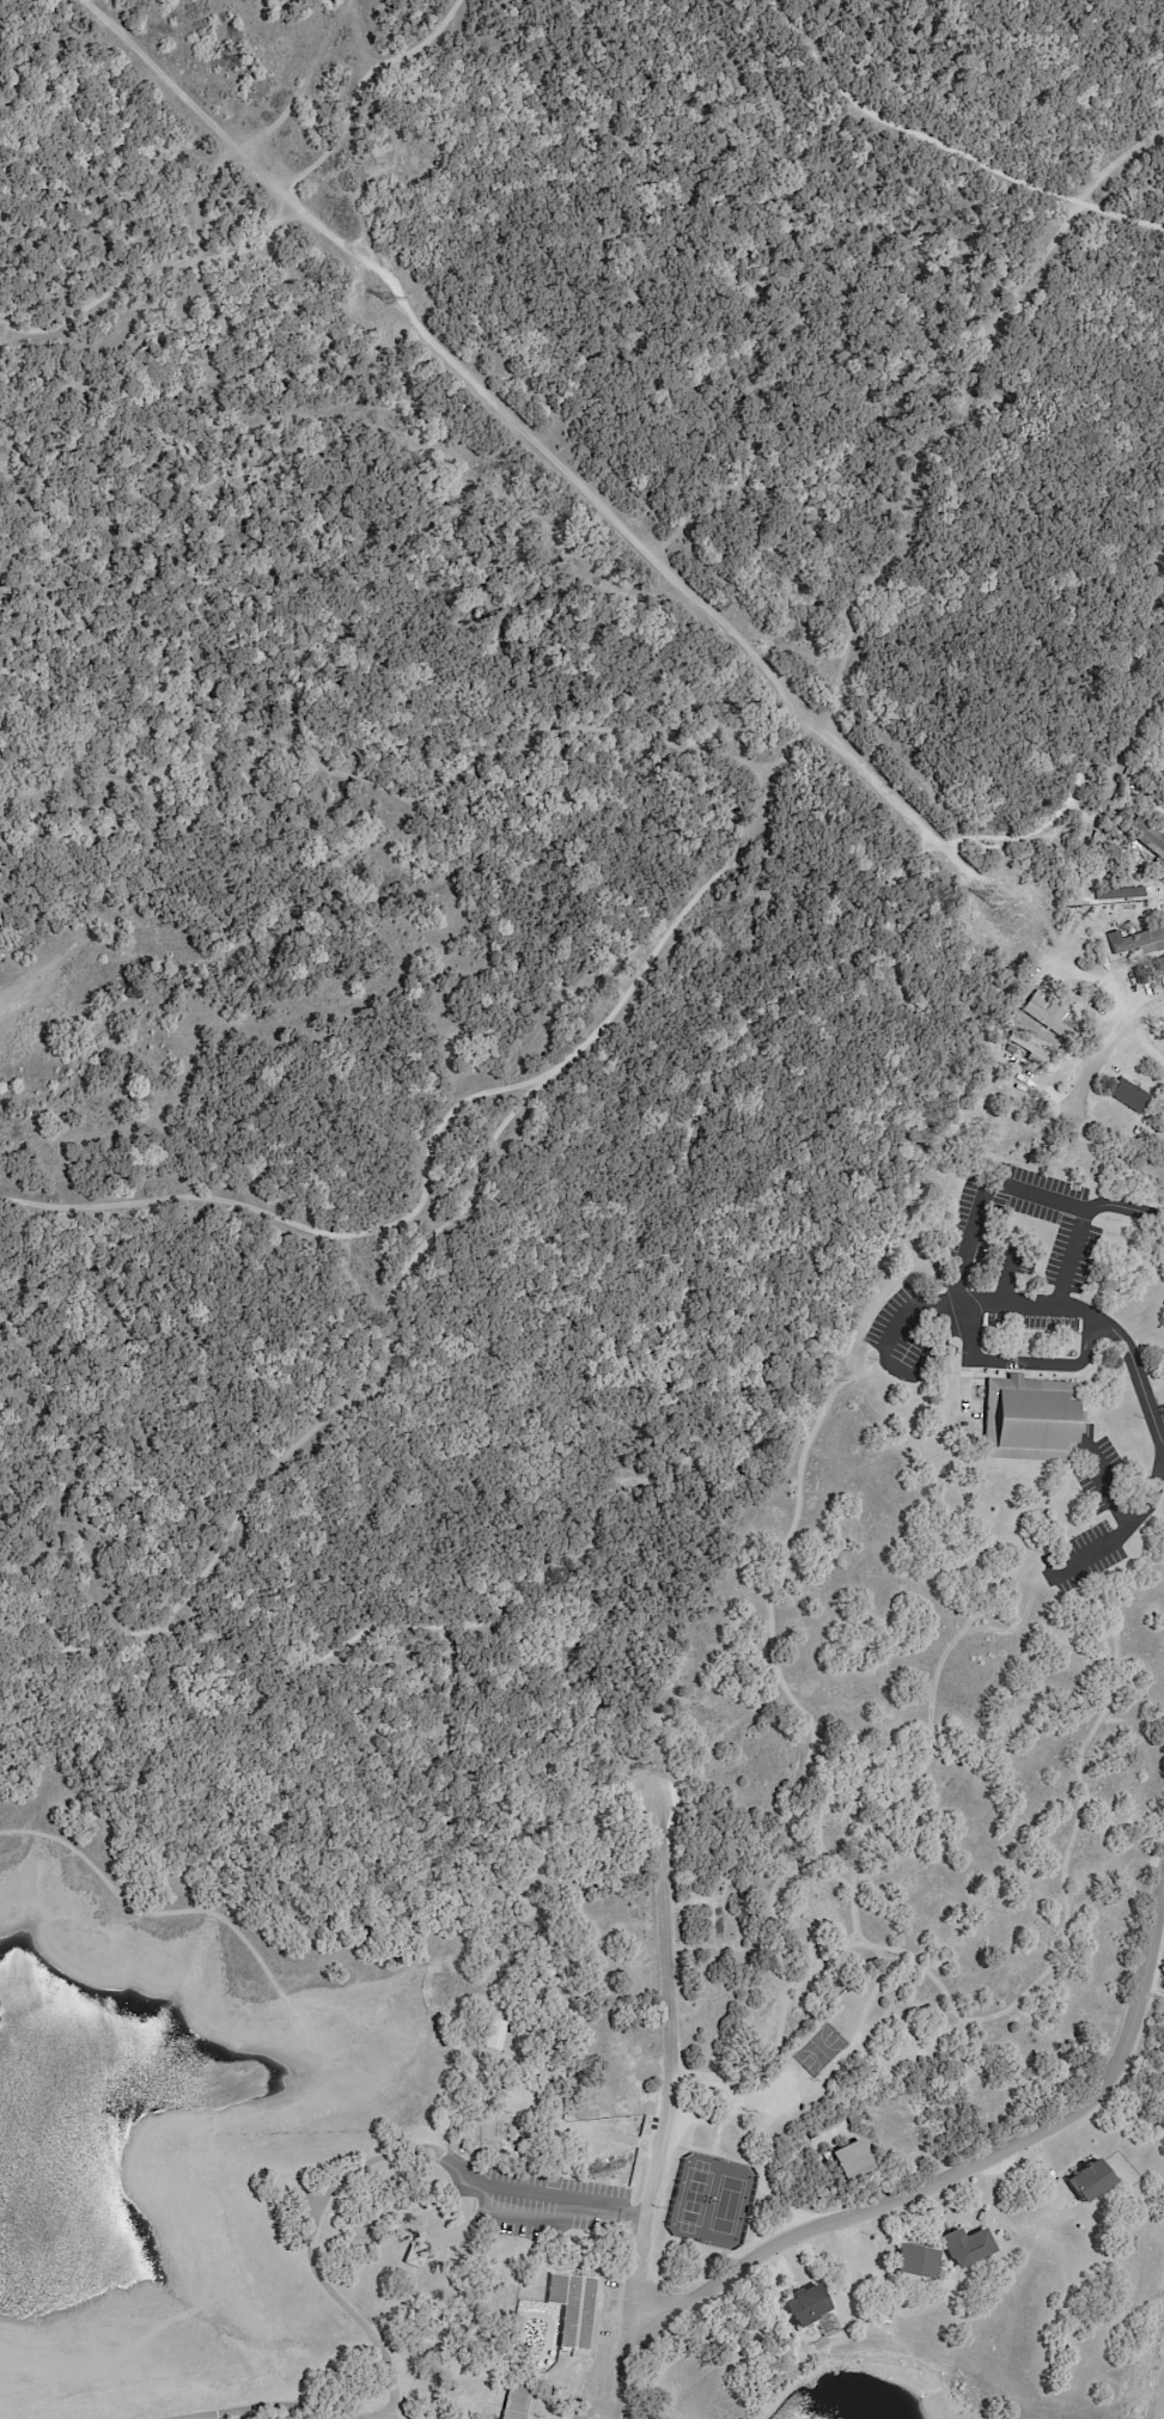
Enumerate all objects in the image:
power tower: (386, 299)
building: (1163, 809)
building: (1123, 817)
building: (1147, 836)
building: (1119, 892)
power tower: (1006, 914)
building: (1141, 943)
building: (1156, 965)
building: (1047, 1013)
building: (1012, 1050)
building: (1036, 1052)
road: (1102, 1054)
building: (1129, 1096)
road: (970, 1233)
road: (1061, 1309)
road: (1016, 1363)
building: (1029, 1421)
road: (1121, 1533)
road: (653, 2039)
building: (543, 2070)
building: (804, 2109)
building: (851, 2161)
road: (968, 2169)
building: (1087, 2182)
building: (965, 2248)
building: (416, 2255)
building: (914, 2262)
building: (803, 2307)
building: (573, 2309)
road: (623, 2359)
building: (516, 2402)
road: (605, 2407)
road: (269, 2408)
road: (591, 2408)

